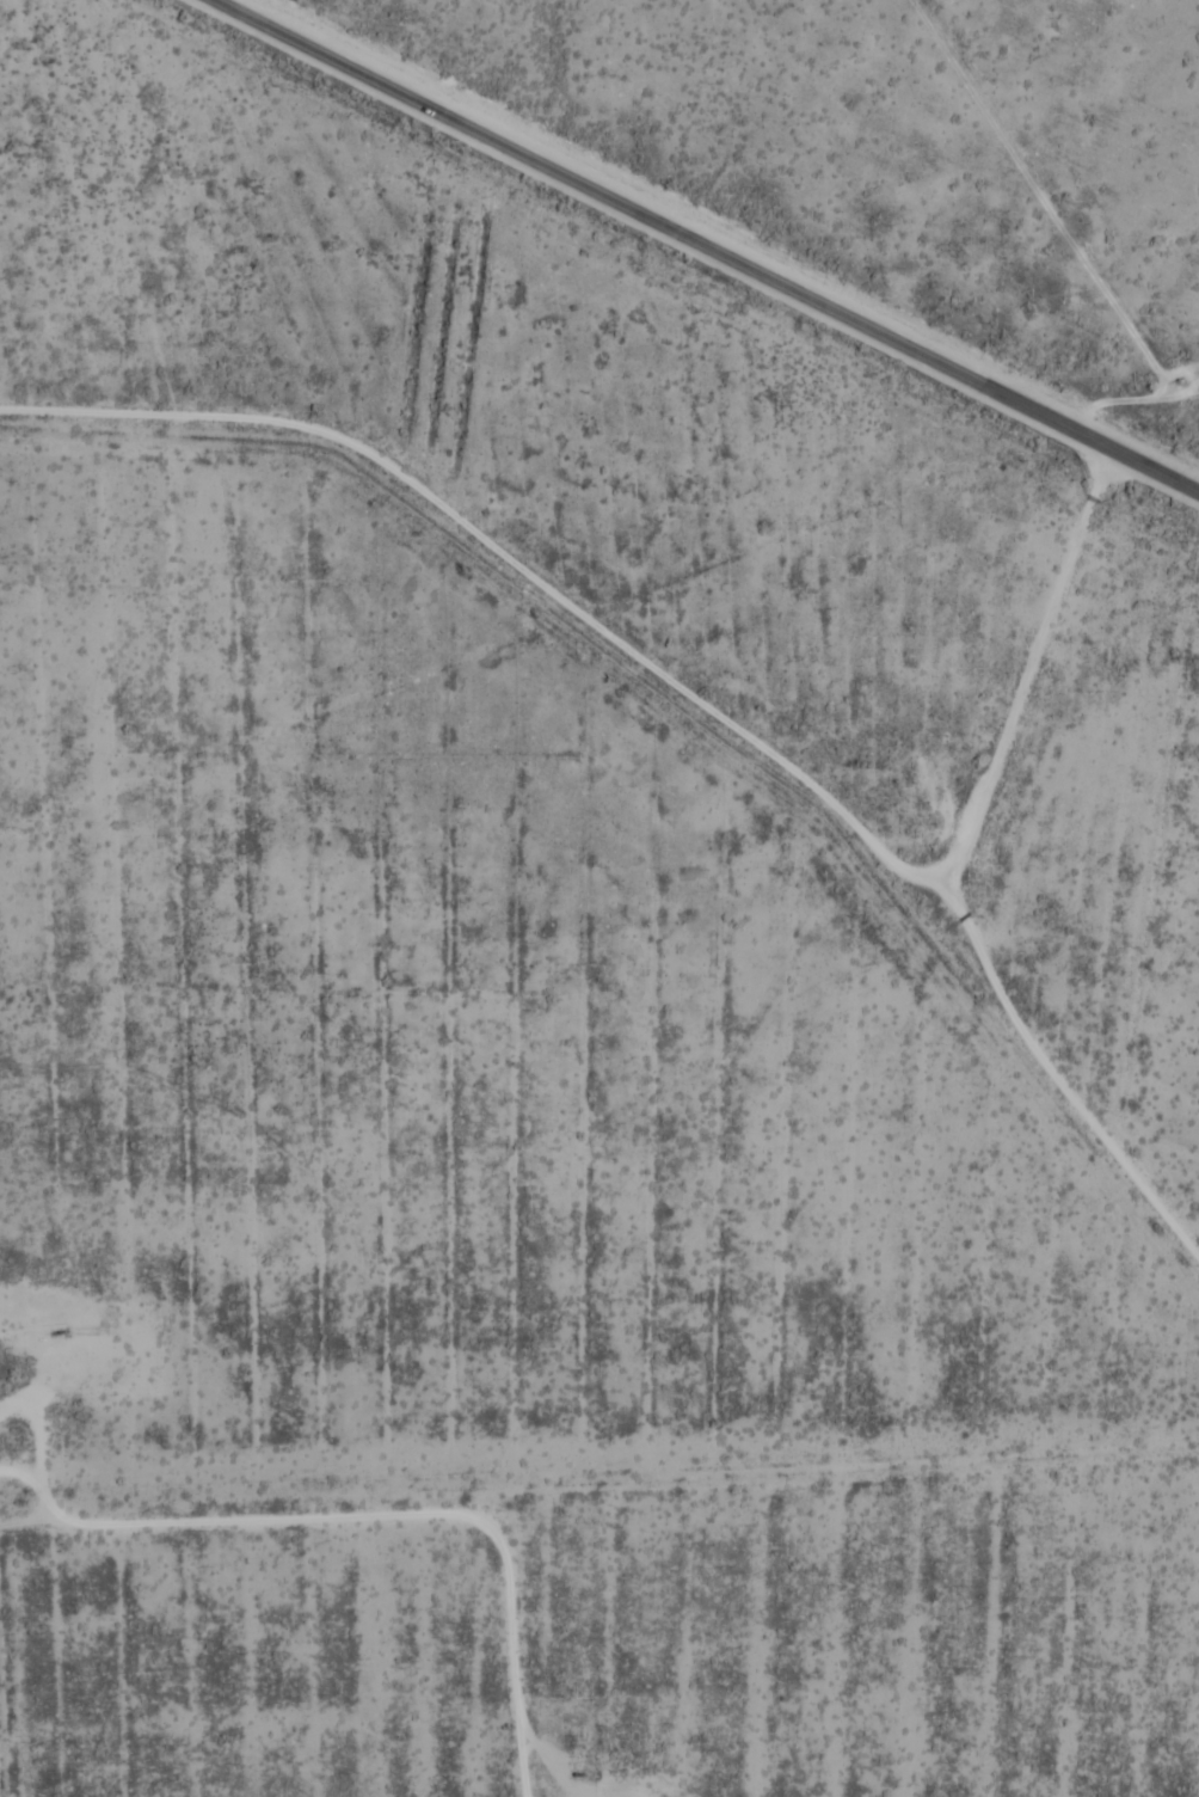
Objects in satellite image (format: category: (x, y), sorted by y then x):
road: (707, 245)
road: (533, 574)
road: (1025, 695)
road: (954, 931)
road: (39, 1415)
road: (333, 1517)
road: (30, 1519)
road: (50, 1522)
road: (524, 1721)

